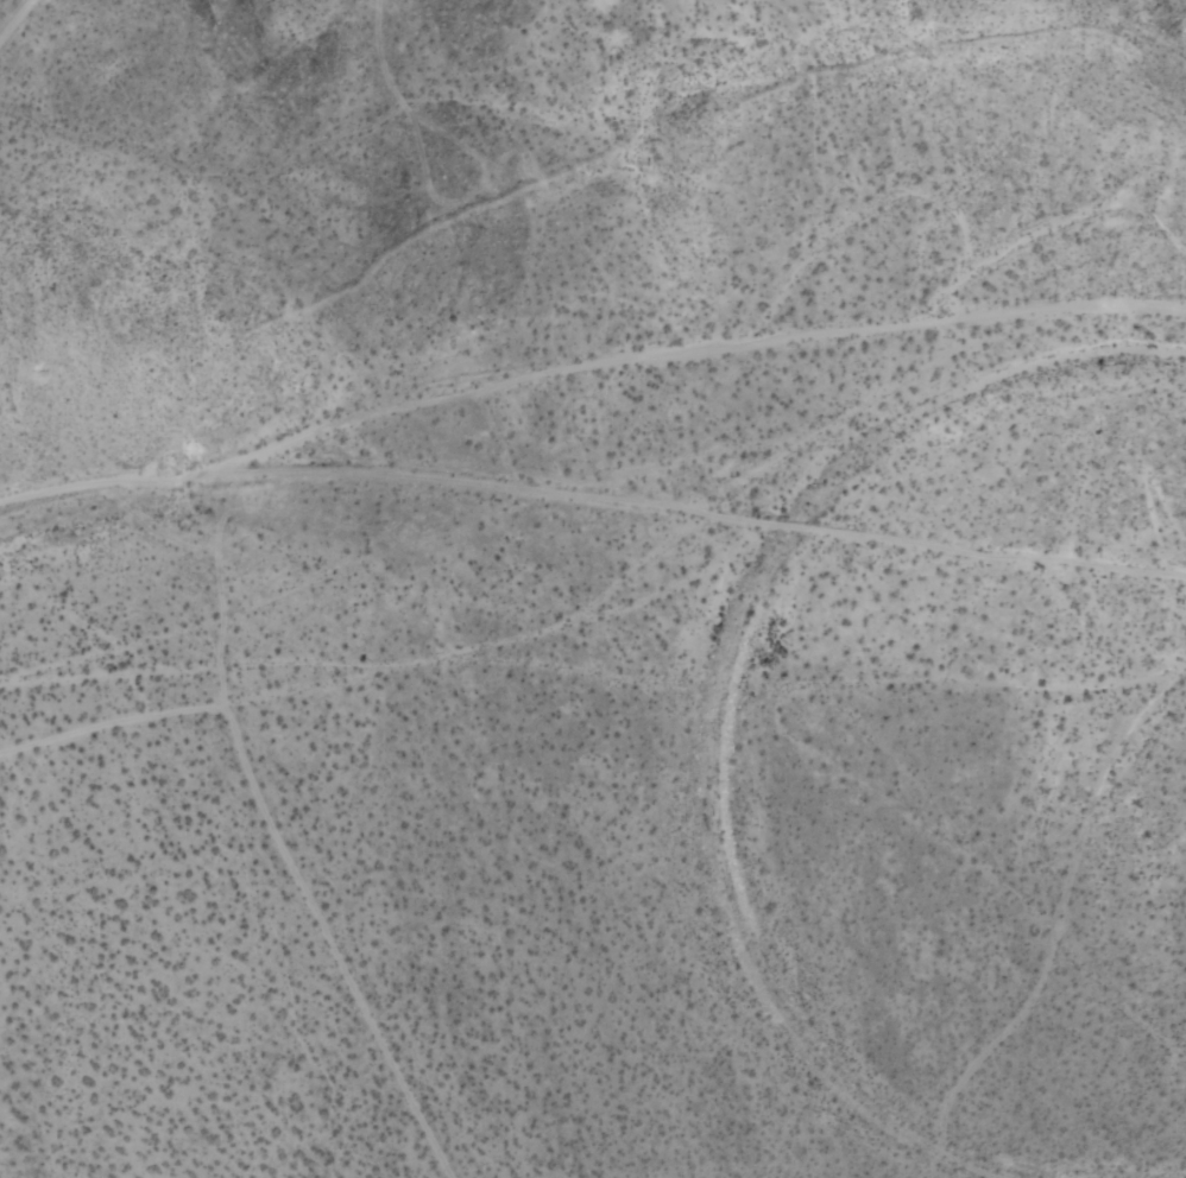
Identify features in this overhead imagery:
road: (11, 15)

